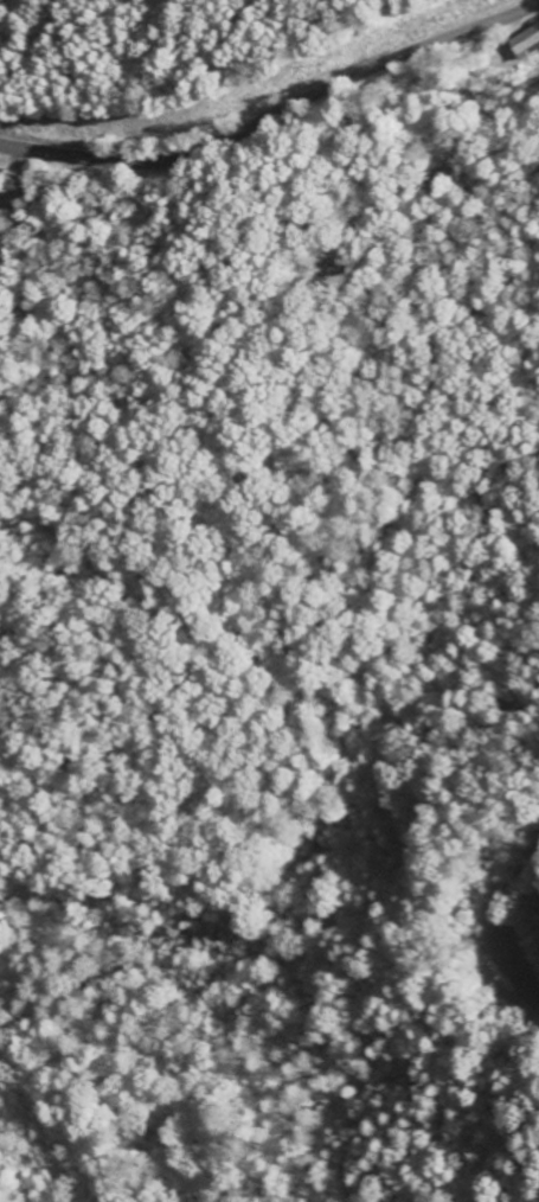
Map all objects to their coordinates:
building: (528, 46)
road: (276, 114)

